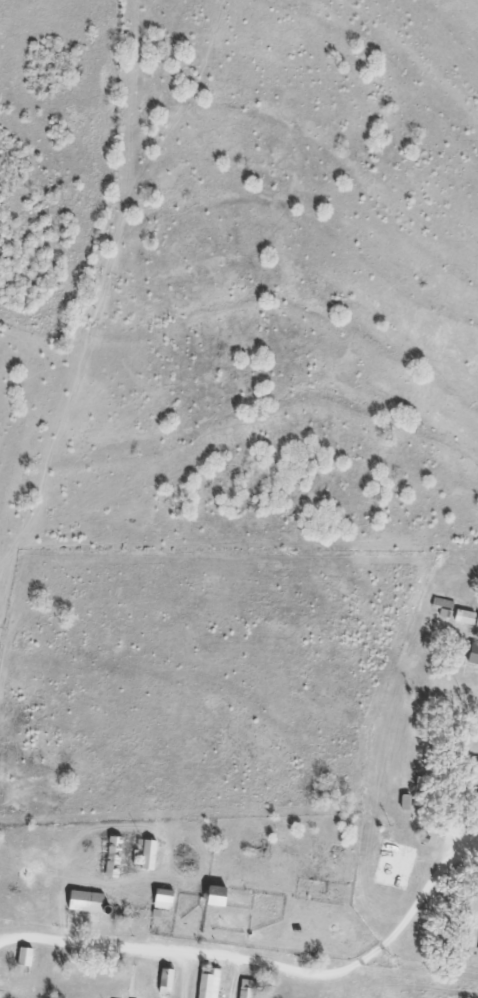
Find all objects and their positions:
building: (439, 601)
building: (465, 616)
building: (474, 651)
building: (147, 853)
building: (112, 855)
building: (216, 894)
building: (162, 898)
building: (85, 900)
road: (2, 939)
building: (21, 955)
road: (270, 966)
building: (164, 980)
building: (207, 984)
building: (247, 988)

